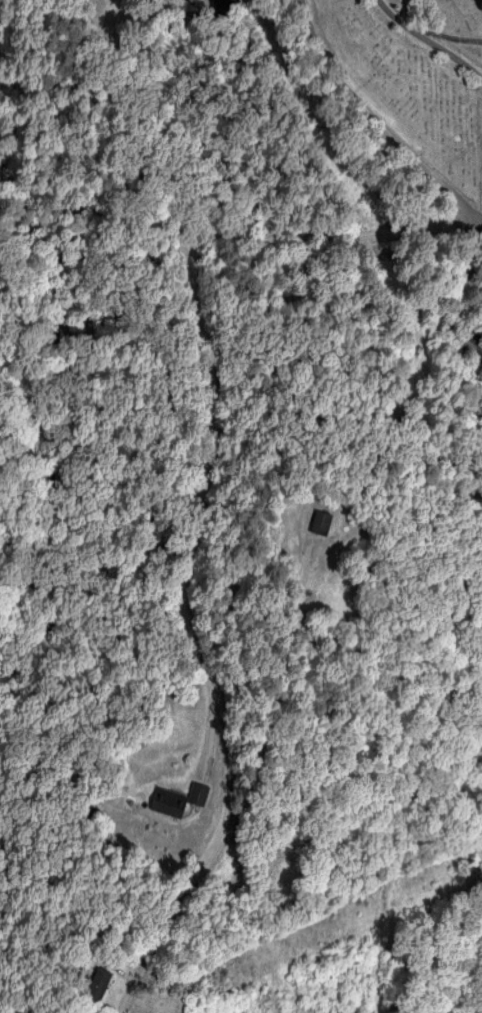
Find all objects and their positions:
building: (219, 2)
road: (189, 4)
road: (449, 38)
road: (429, 41)
park: (416, 71)
road: (378, 116)
road: (470, 267)
building: (472, 347)
road: (203, 502)
building: (320, 522)
building: (197, 793)
building: (167, 801)
building: (98, 983)

